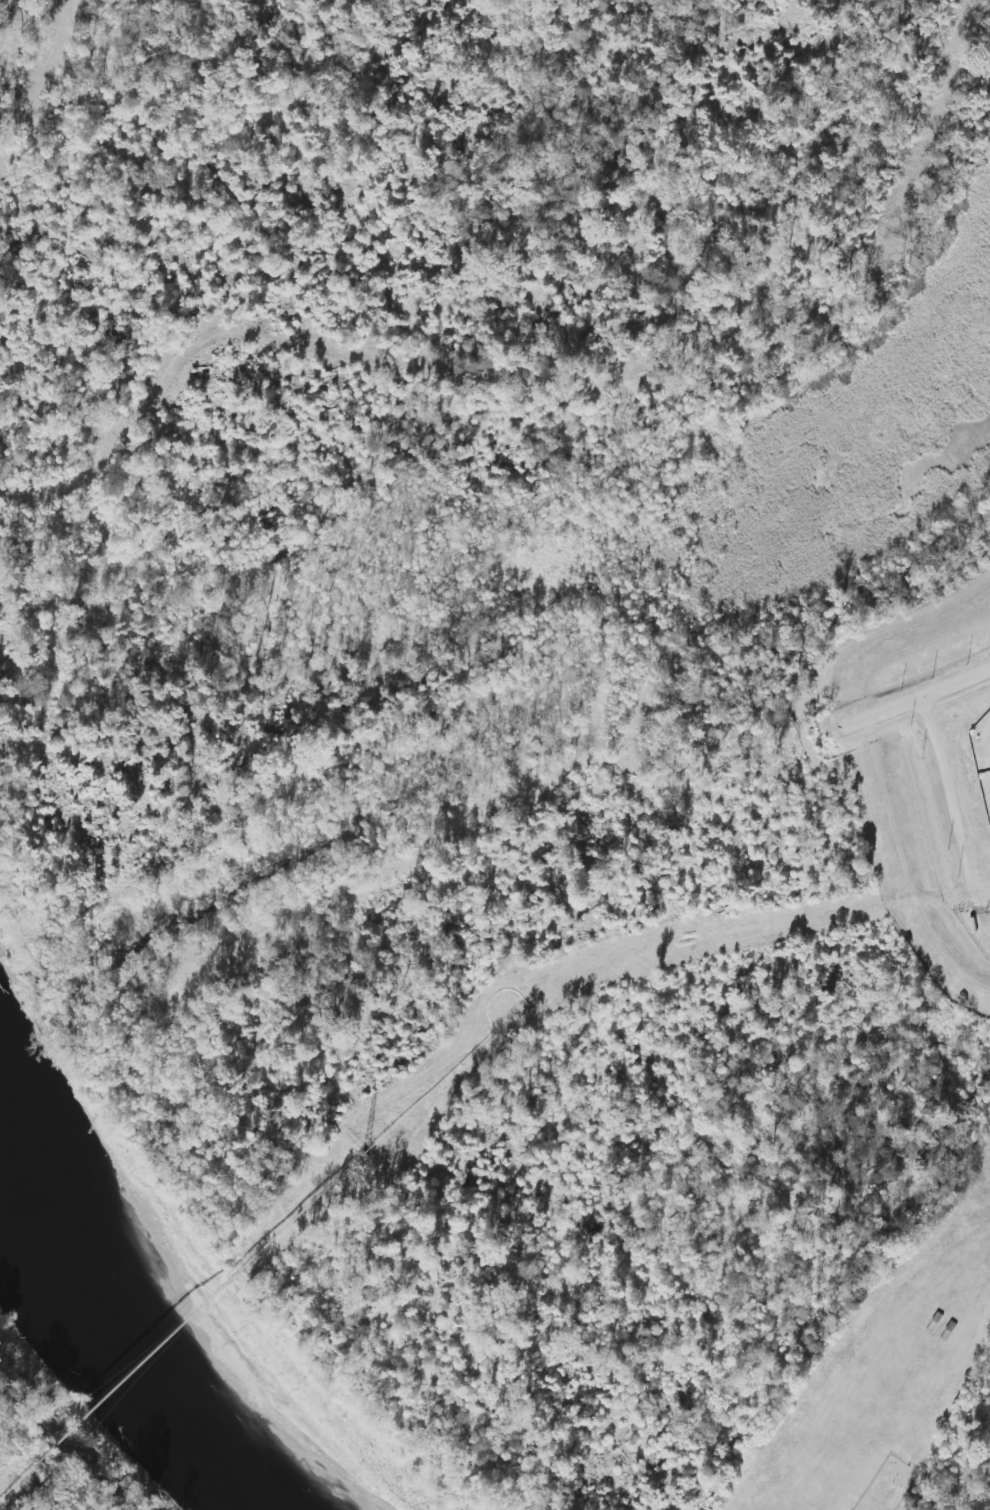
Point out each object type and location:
road: (914, 701)
road: (917, 712)
road: (954, 805)
river: (150, 1349)

